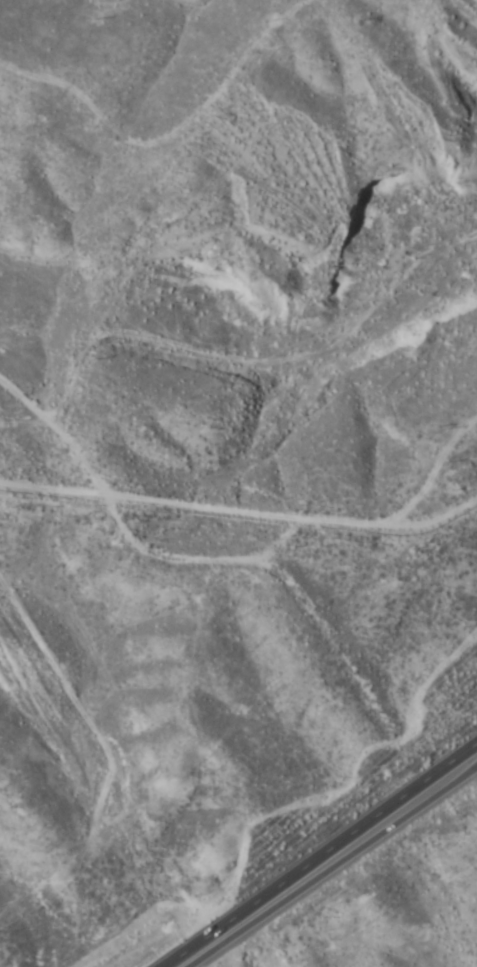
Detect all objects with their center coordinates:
road: (189, 514)
road: (53, 662)
road: (332, 863)
crop: (445, 949)

